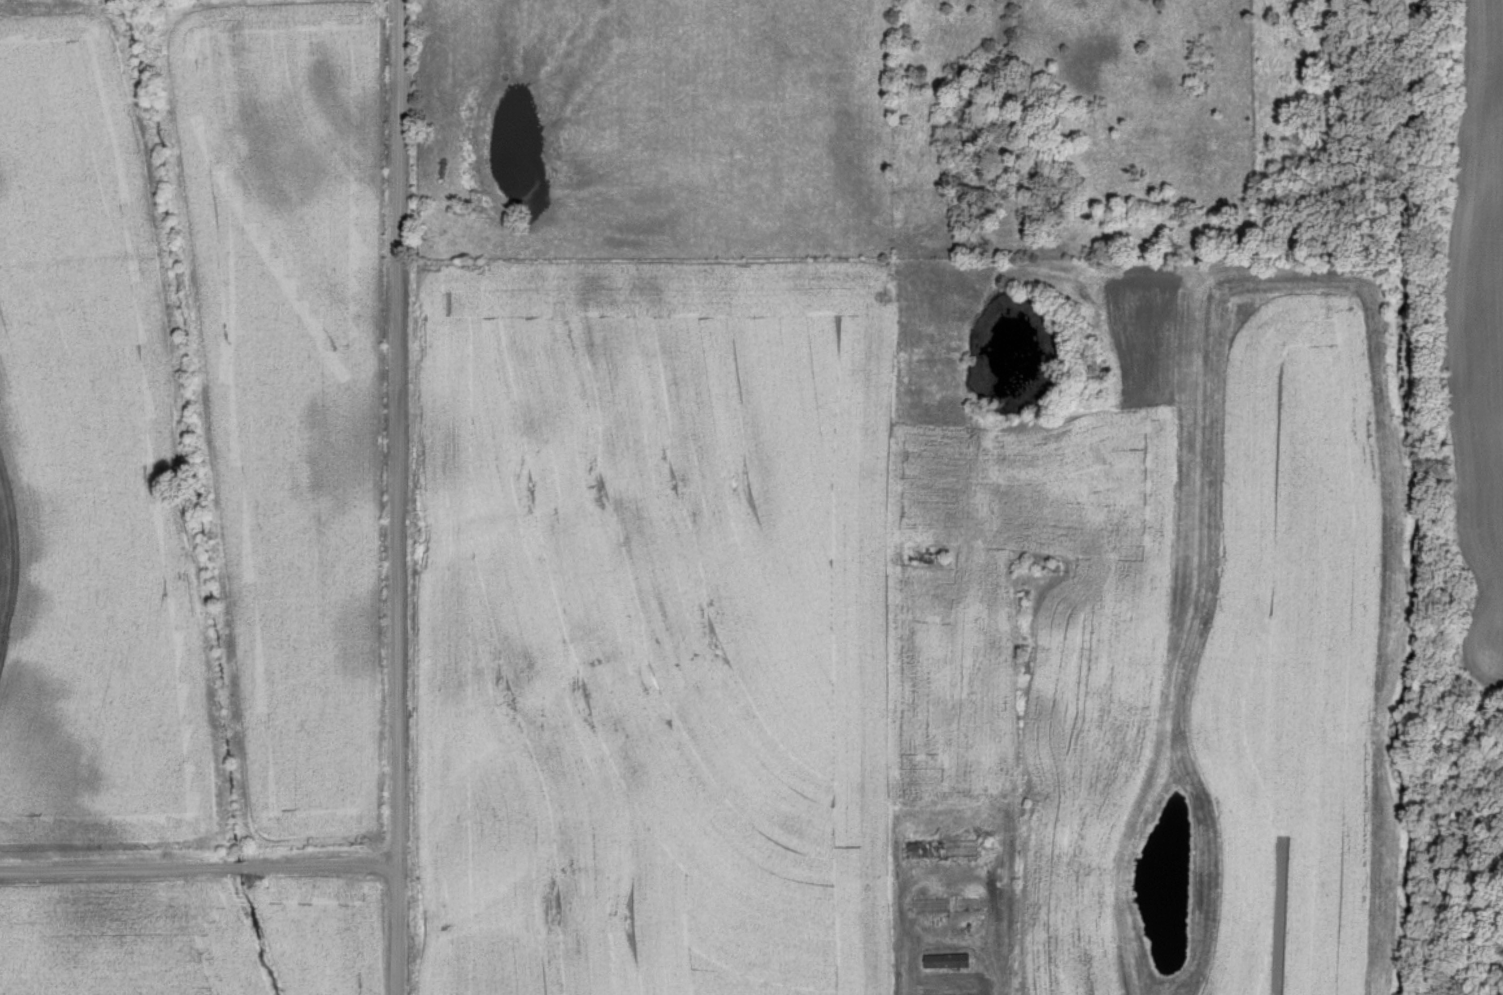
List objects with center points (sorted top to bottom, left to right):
road: (394, 497)
building: (963, 847)
road: (198, 868)
building: (943, 961)

